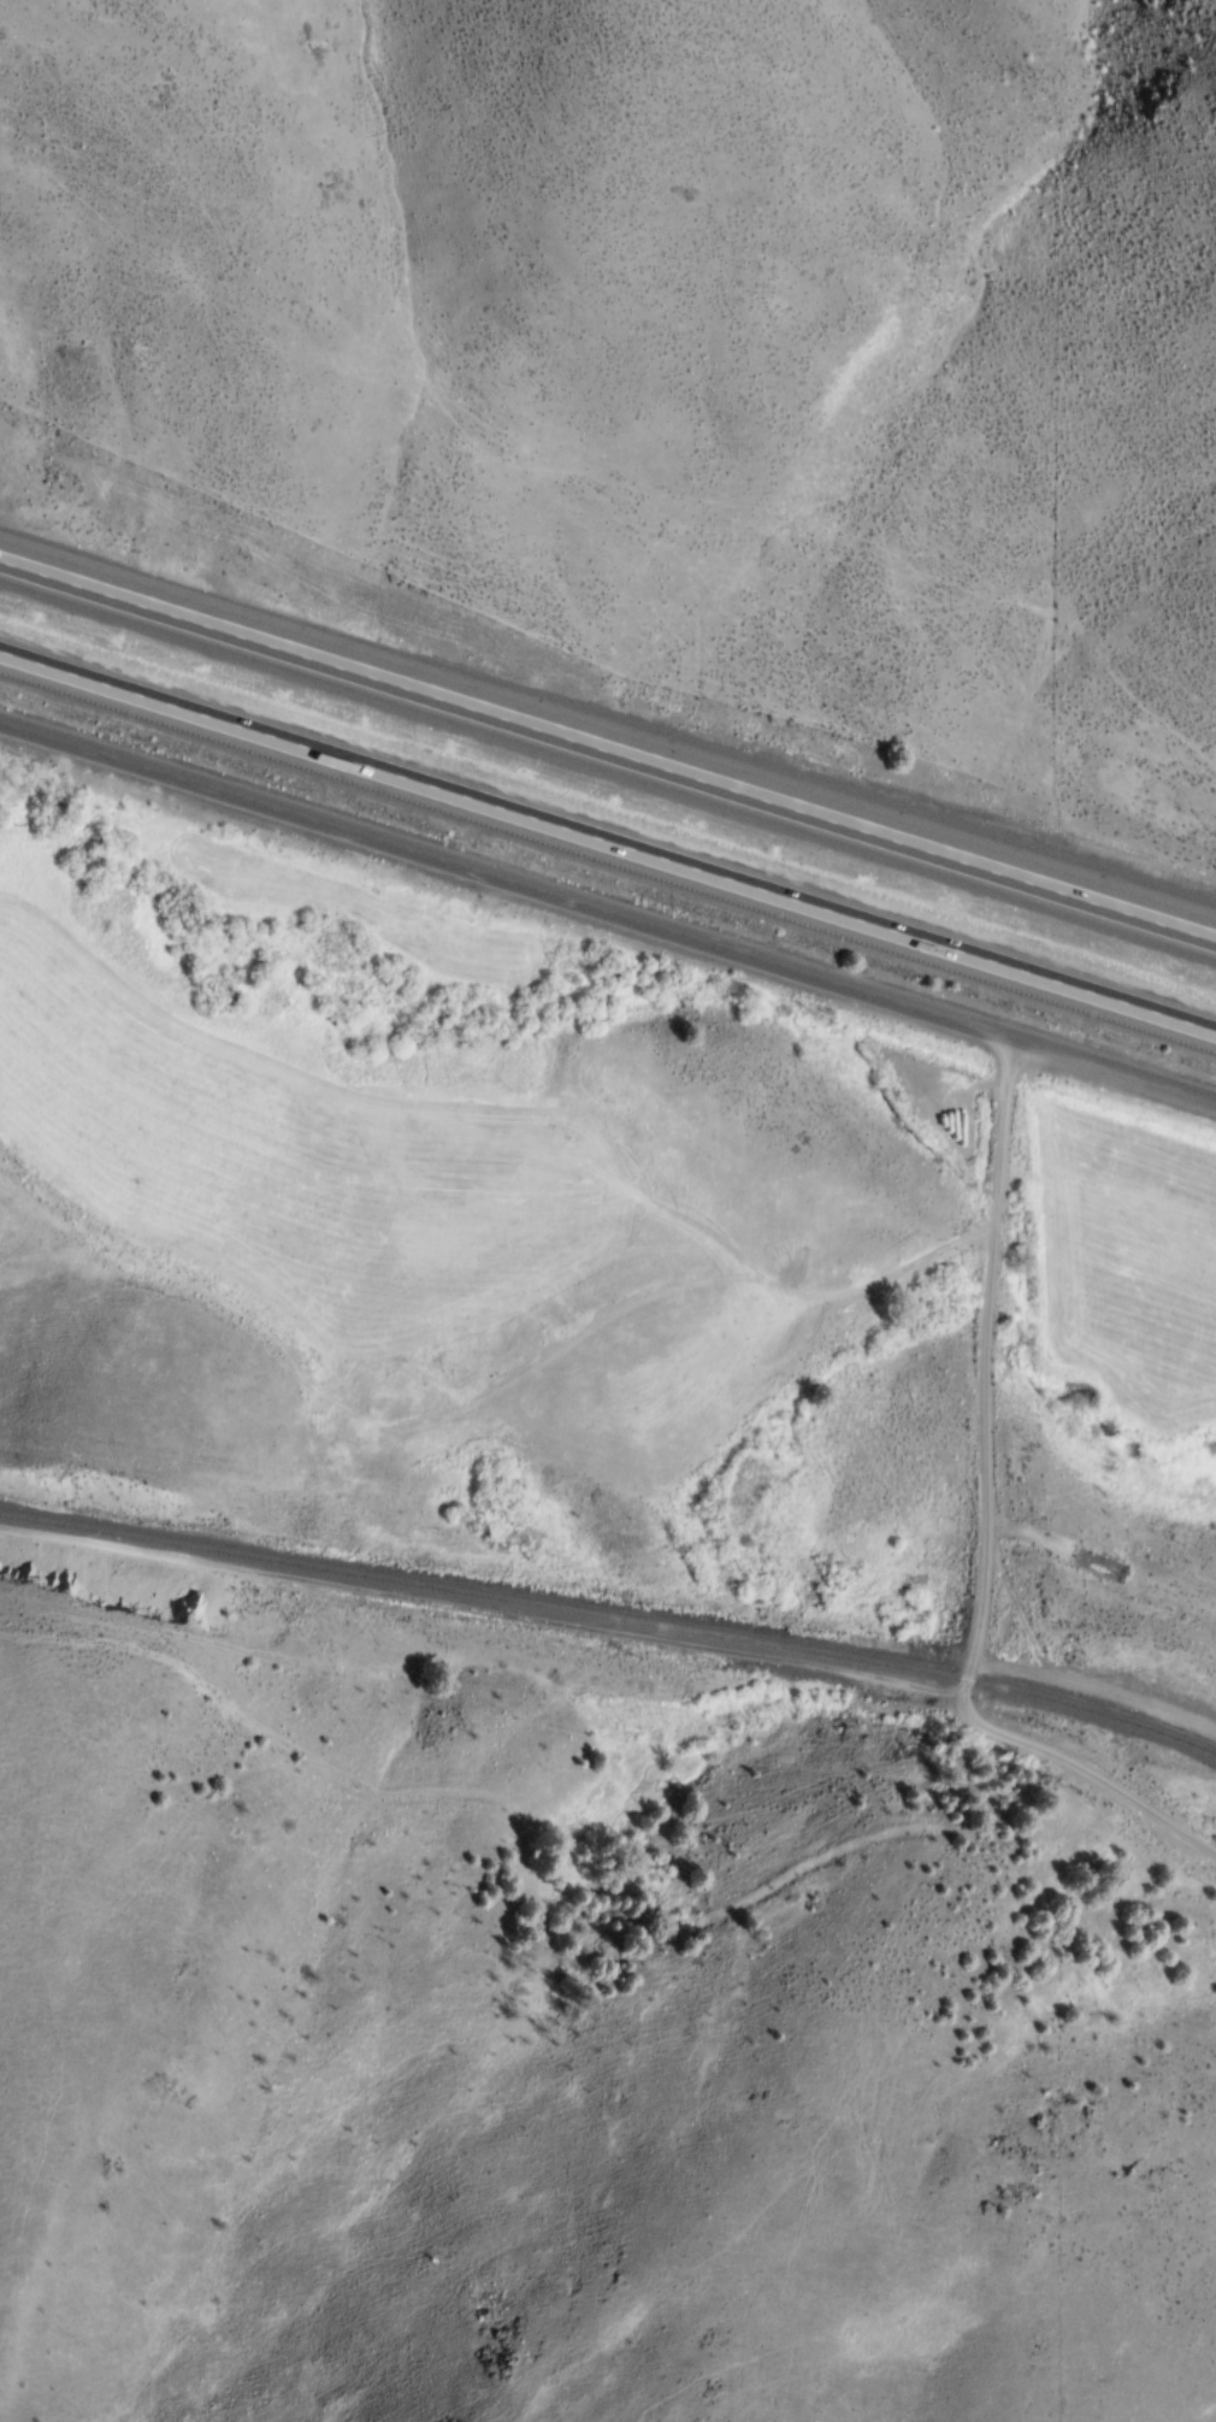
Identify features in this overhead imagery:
road: (607, 750)
road: (607, 836)
road: (608, 911)
road: (981, 1521)
railway: (612, 1620)
road: (1093, 1687)

